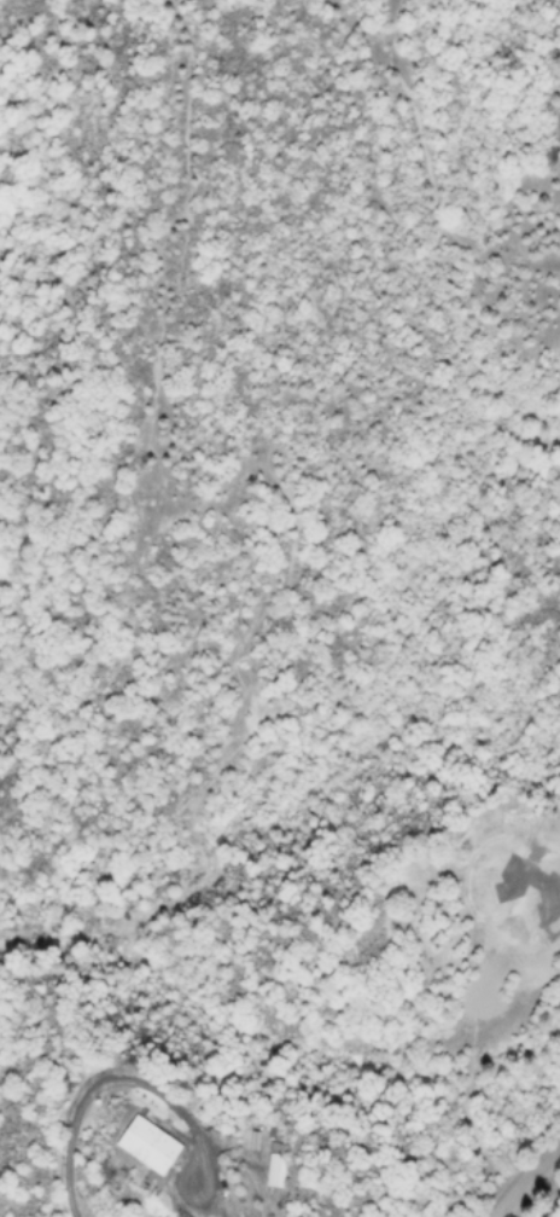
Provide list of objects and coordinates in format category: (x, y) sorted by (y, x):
road: (91, 1084)
building: (139, 1143)
road: (527, 1183)

